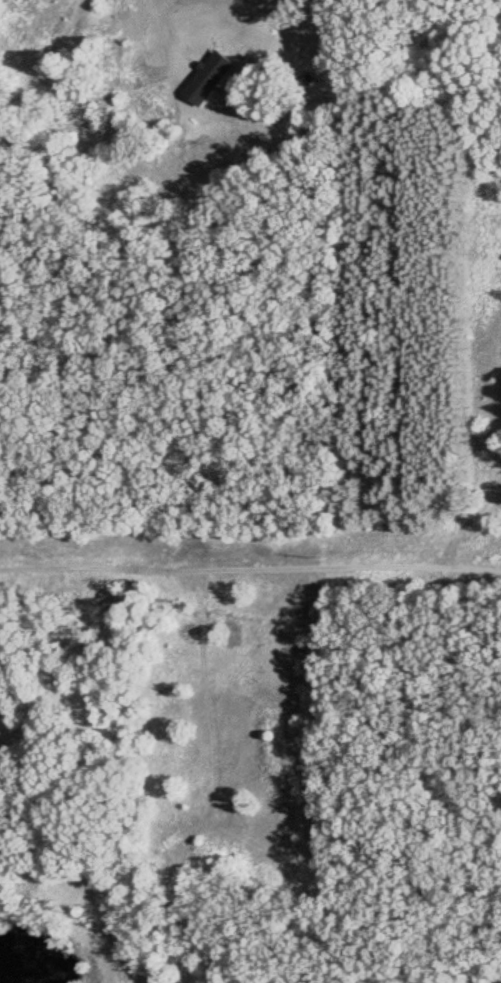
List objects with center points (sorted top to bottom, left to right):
quarry: (162, 785)

